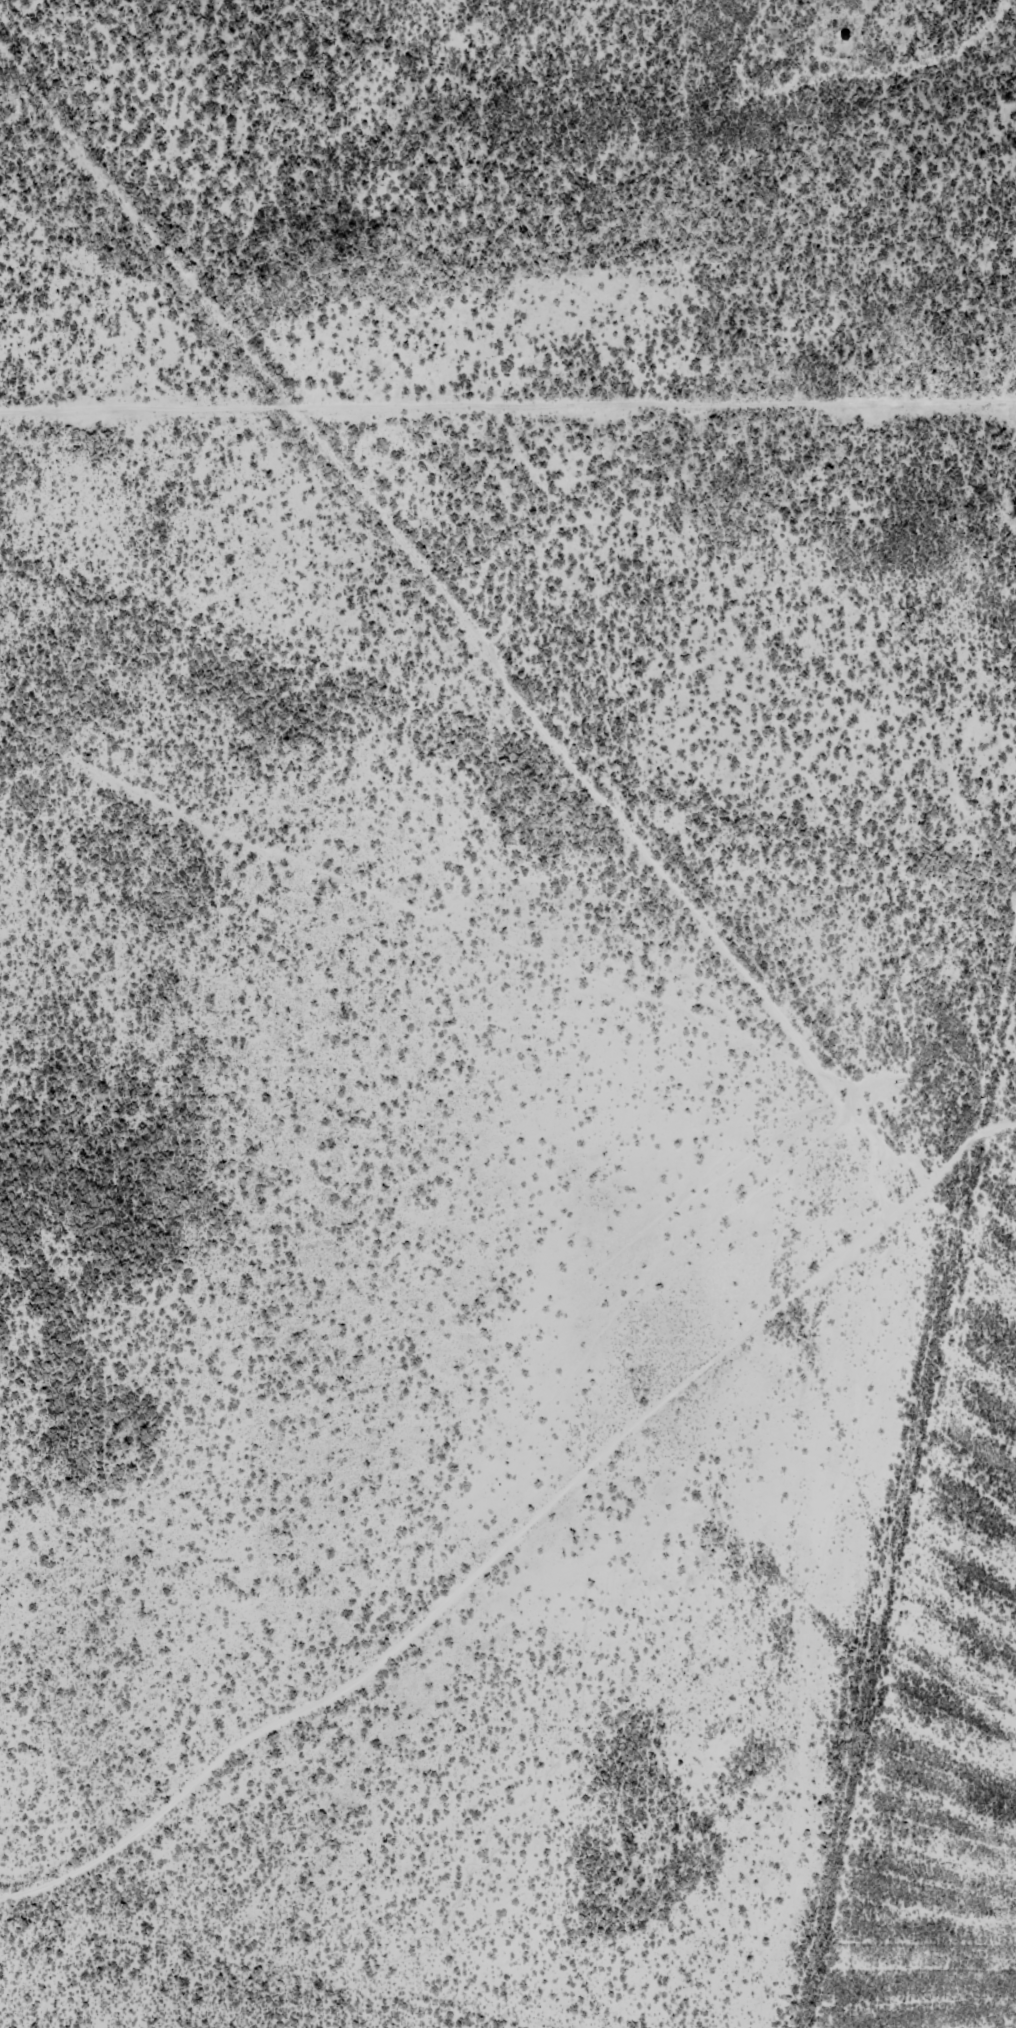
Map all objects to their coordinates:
road: (915, 66)
road: (266, 1970)

